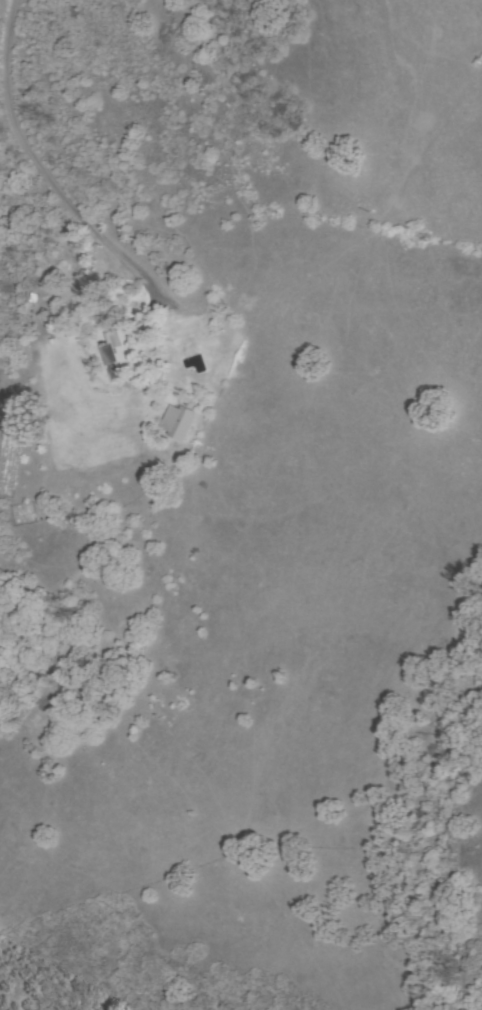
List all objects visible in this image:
building: (118, 355)
building: (178, 422)

